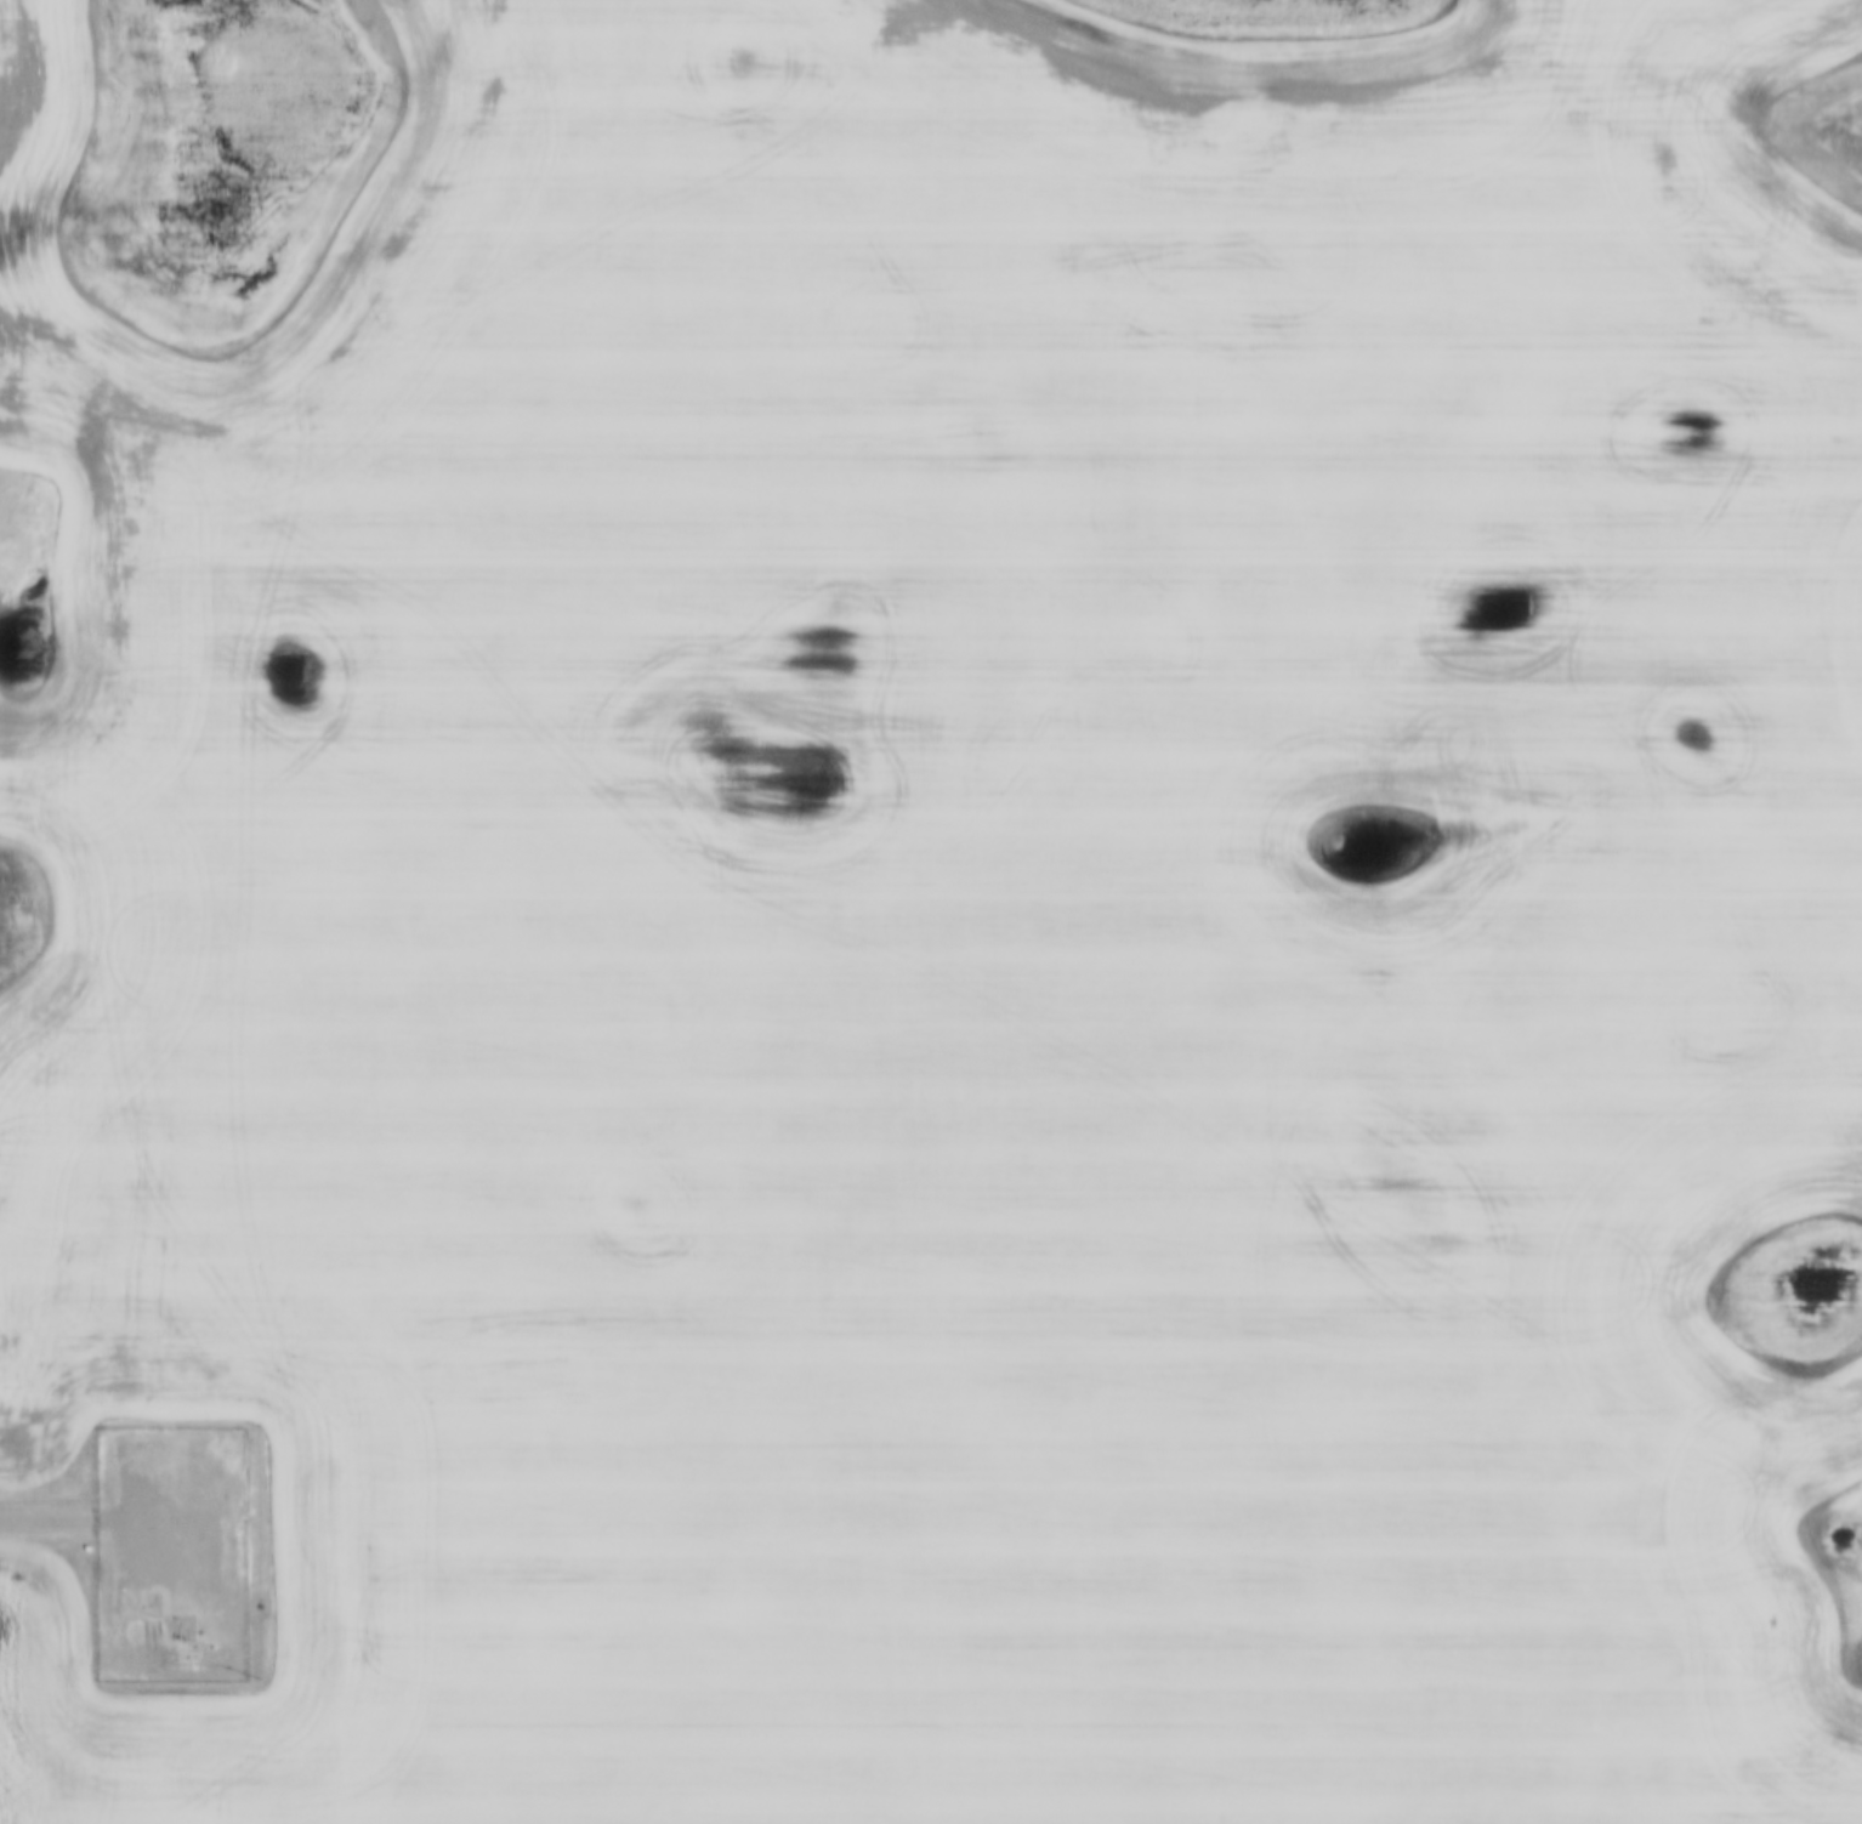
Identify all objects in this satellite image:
road: (87, 1519)

